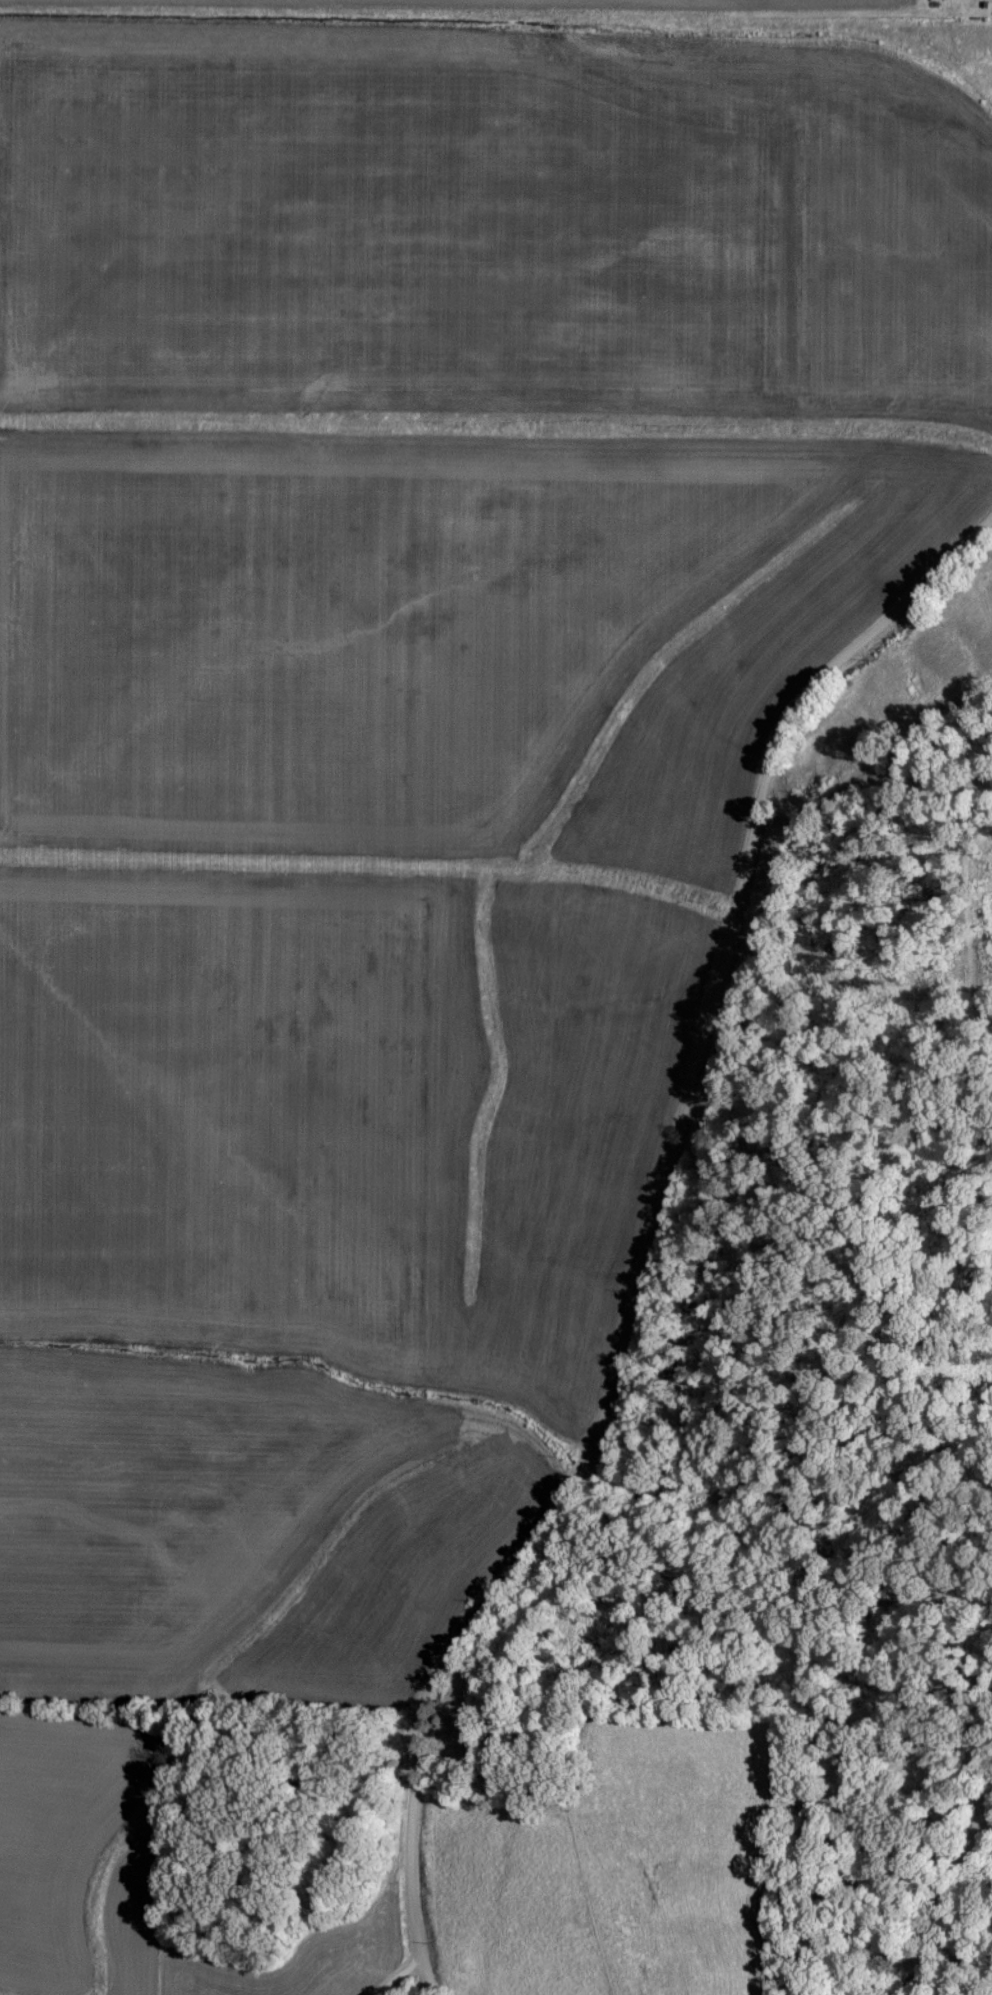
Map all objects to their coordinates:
road: (649, 1233)
road: (399, 1977)

